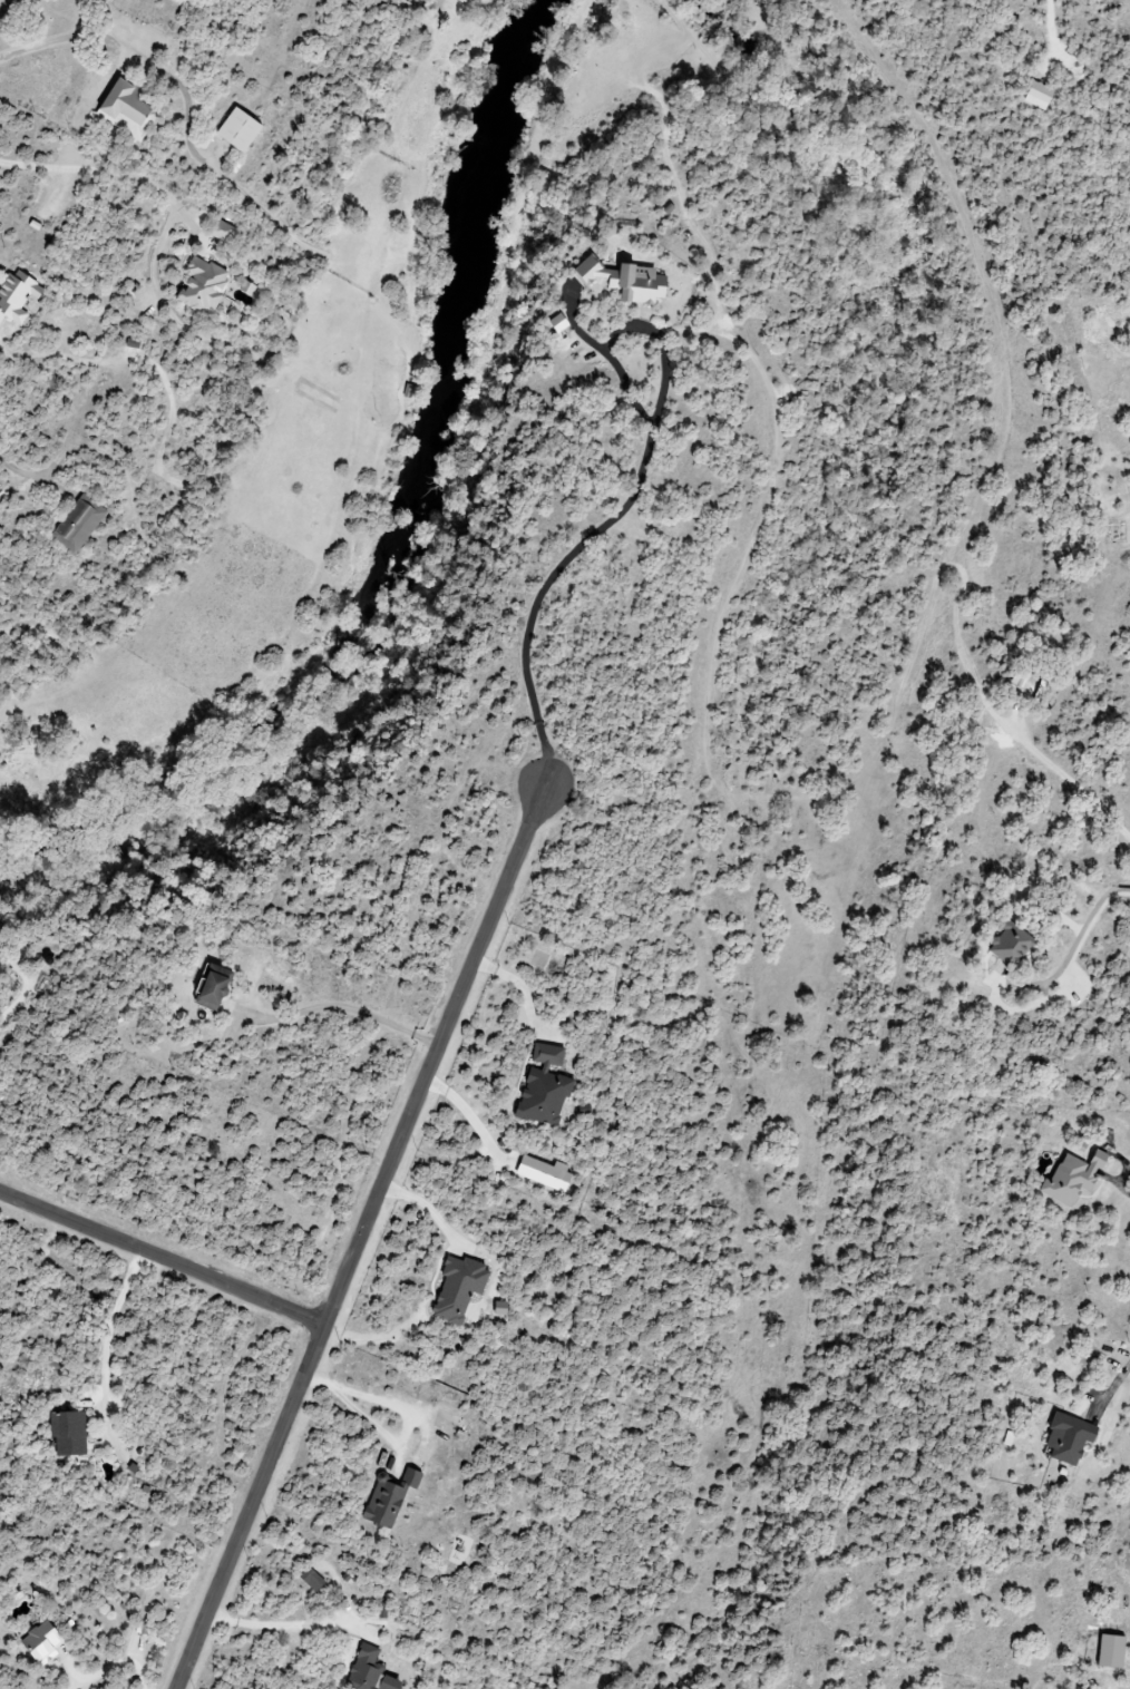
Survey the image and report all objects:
road: (64, 38)
building: (1034, 95)
building: (129, 110)
building: (241, 130)
road: (140, 180)
building: (222, 232)
building: (621, 281)
building: (203, 285)
building: (18, 296)
building: (555, 324)
road: (631, 329)
road: (575, 331)
building: (78, 525)
road: (537, 590)
road: (1070, 785)
road: (1090, 927)
building: (1005, 945)
road: (26, 990)
building: (217, 990)
road: (343, 1006)
building: (545, 1088)
building: (1074, 1178)
road: (1123, 1187)
road: (428, 1210)
road: (360, 1238)
road: (162, 1261)
building: (460, 1288)
road: (103, 1340)
road: (1114, 1382)
road: (408, 1414)
building: (69, 1434)
building: (1071, 1438)
building: (391, 1497)
building: (312, 1580)
road: (266, 1623)
building: (46, 1642)
building: (1113, 1652)
road: (116, 1668)
building: (371, 1671)

